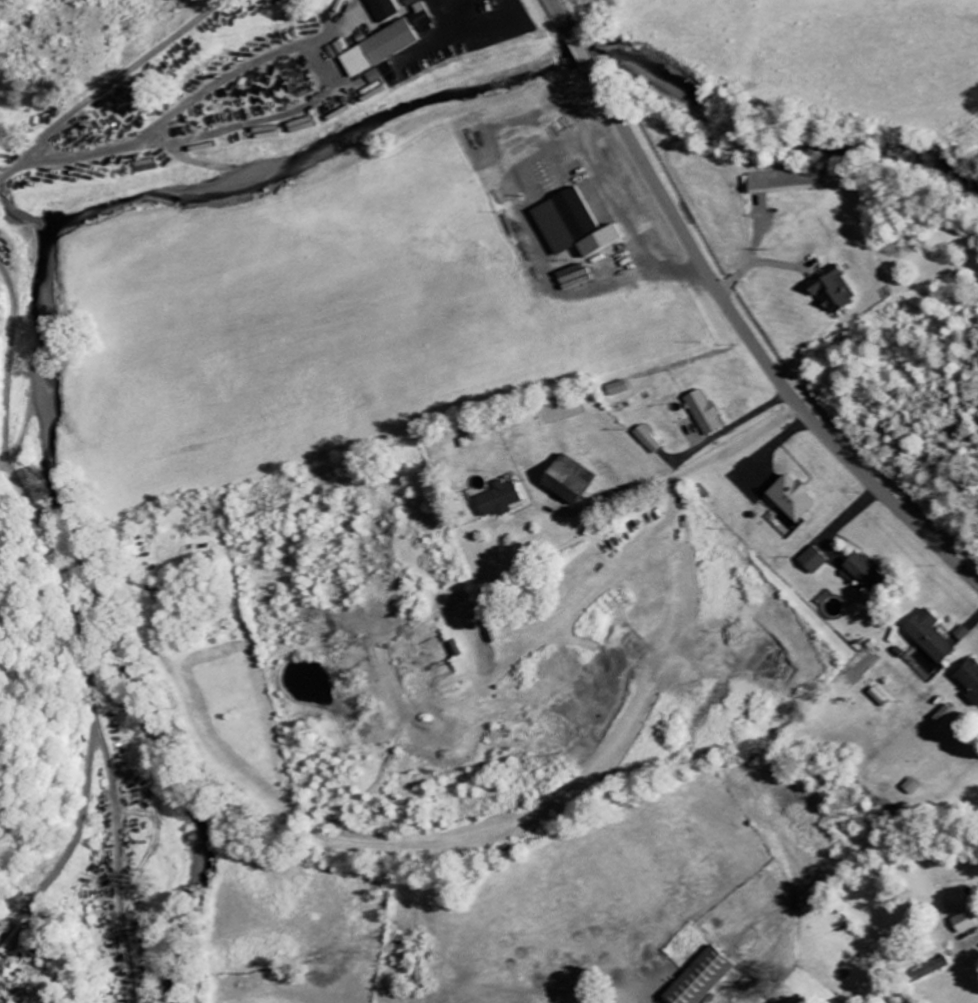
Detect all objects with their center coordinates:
building: (382, 9)
building: (385, 45)
building: (782, 182)
building: (570, 226)
building: (571, 278)
building: (831, 291)
road: (732, 315)
building: (615, 389)
road: (527, 396)
building: (702, 413)
road: (679, 473)
building: (565, 480)
building: (790, 498)
building: (497, 501)
building: (812, 561)
building: (860, 572)
building: (929, 637)
building: (925, 662)
building: (970, 680)
building: (941, 717)
building: (910, 787)
building: (962, 923)
building: (928, 970)
building: (698, 979)

